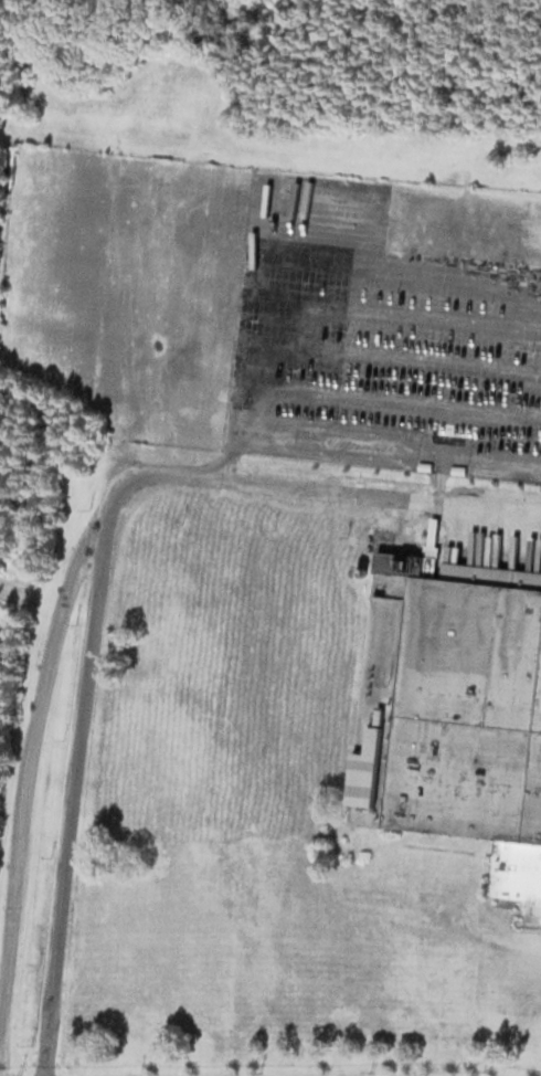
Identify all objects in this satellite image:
road: (79, 566)
building: (455, 711)

